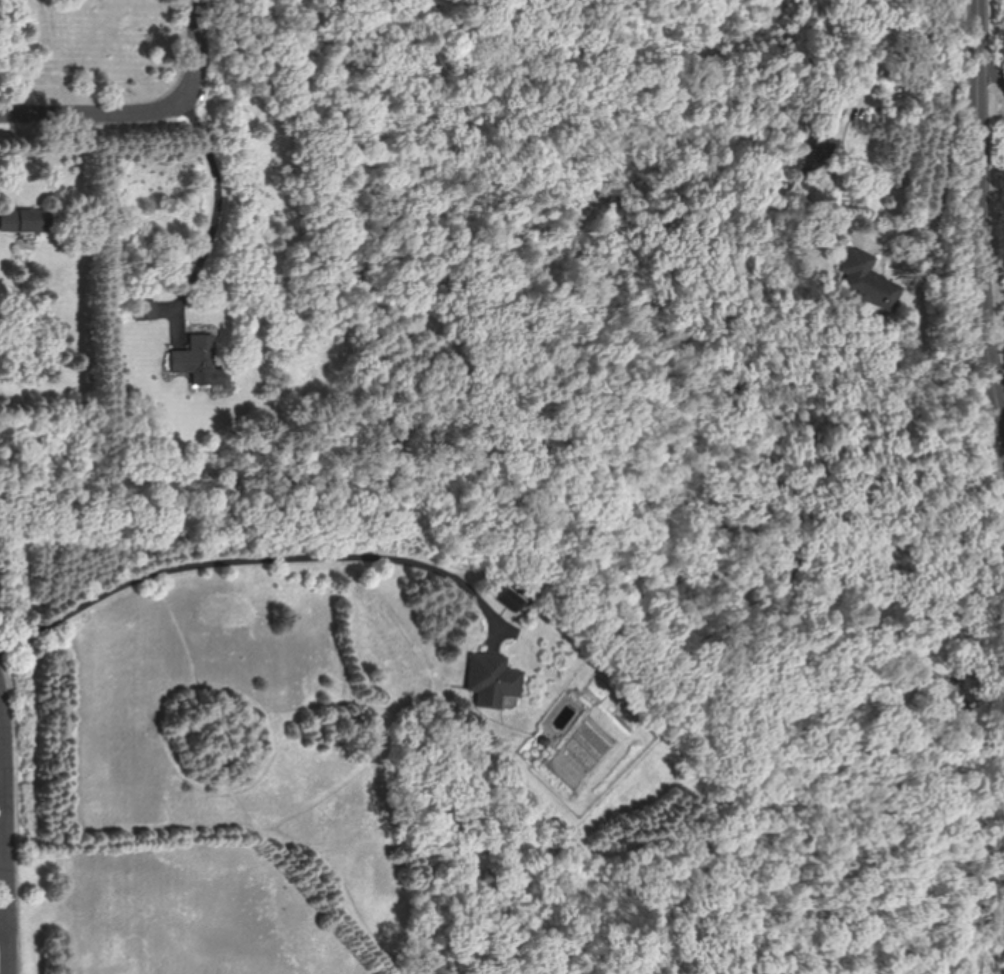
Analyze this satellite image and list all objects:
road: (189, 50)
road: (993, 101)
road: (89, 116)
building: (820, 148)
road: (946, 166)
road: (215, 196)
road: (987, 199)
building: (27, 220)
building: (866, 280)
building: (199, 361)
road: (261, 558)
building: (512, 598)
building: (494, 680)
road: (4, 793)
road: (9, 802)
road: (4, 925)
road: (5, 948)

